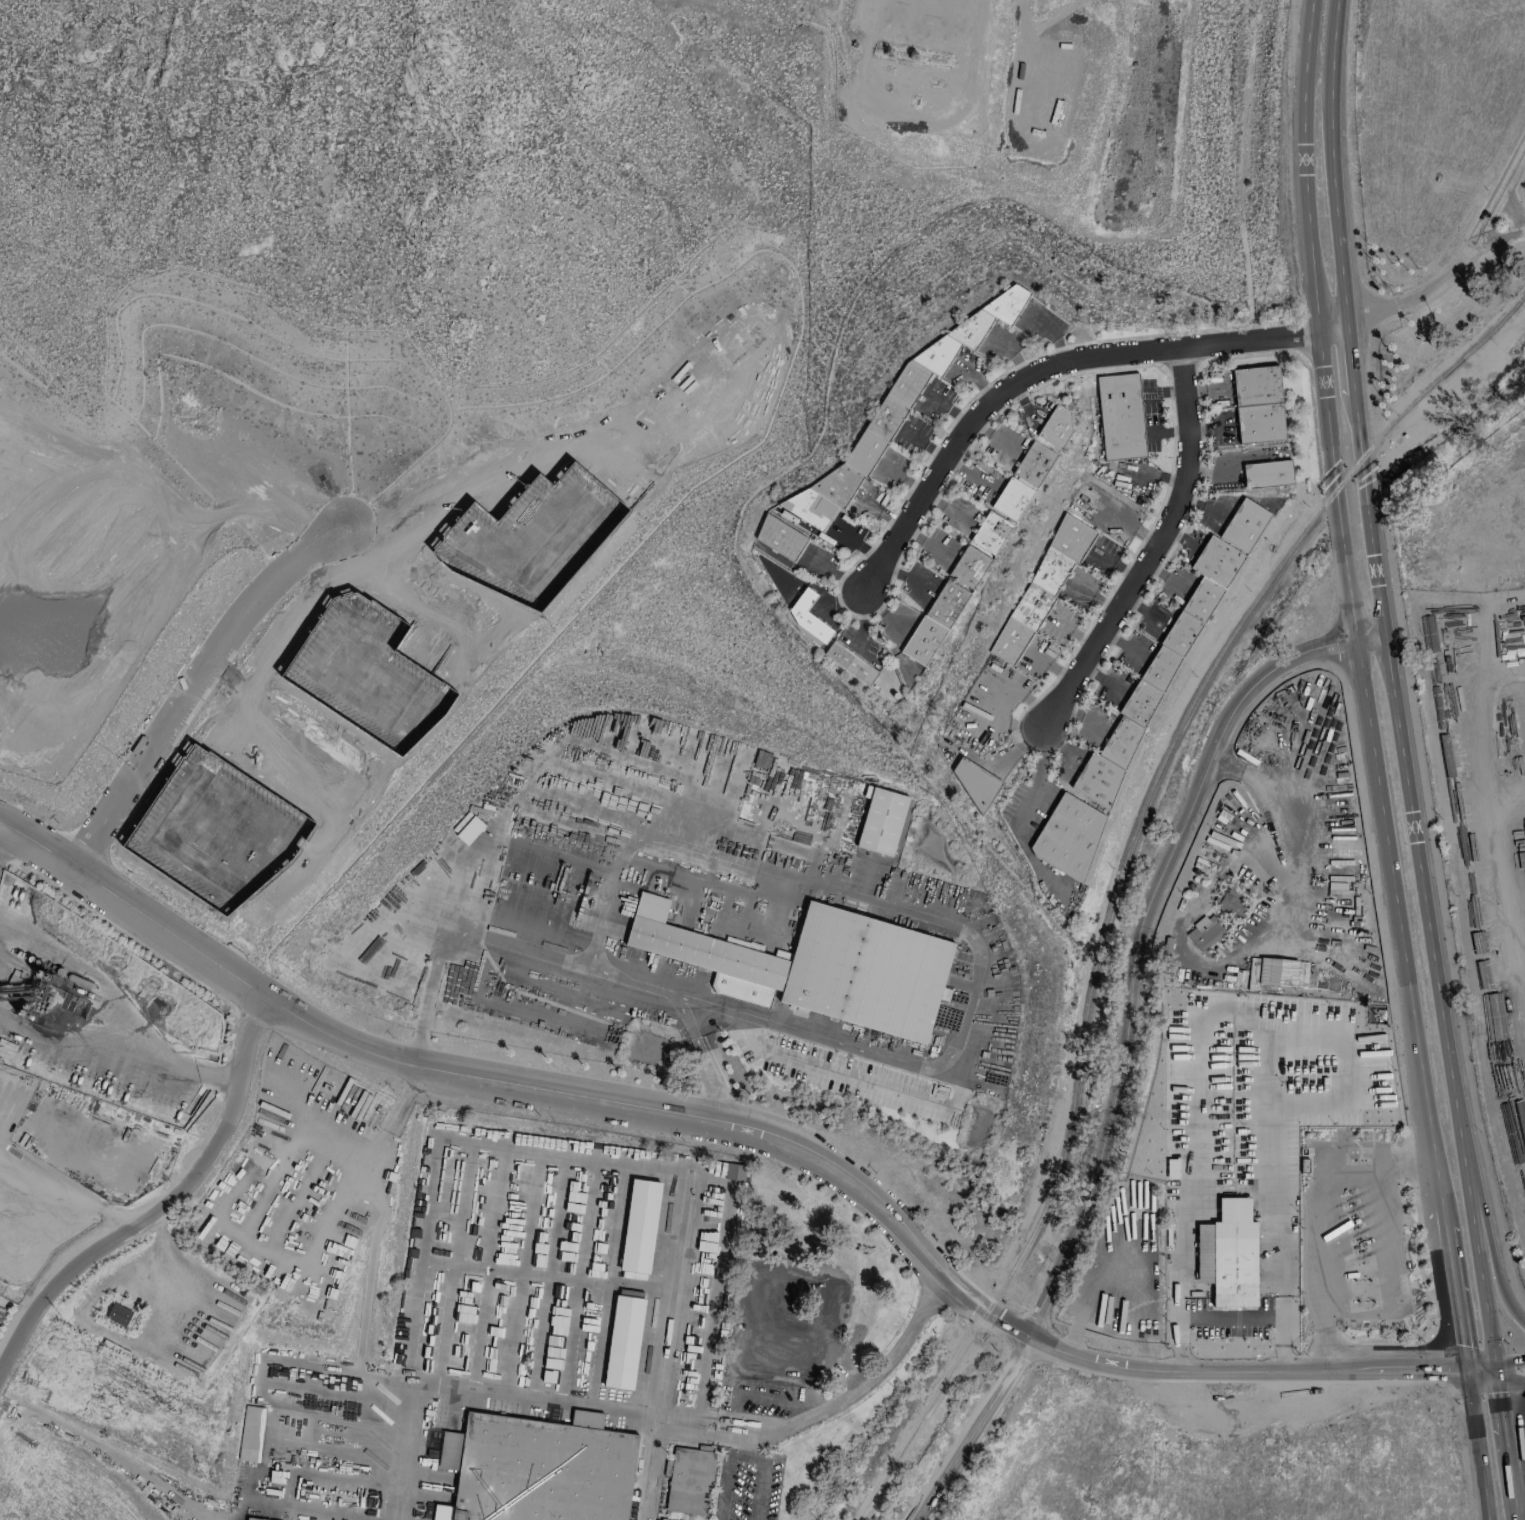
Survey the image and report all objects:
road: (1332, 165)
road: (1509, 216)
road: (1462, 266)
road: (1350, 362)
road: (1054, 374)
building: (1257, 404)
building: (897, 409)
building: (1120, 416)
building: (1055, 425)
building: (1267, 474)
building: (1022, 480)
building: (990, 533)
building: (779, 537)
road: (1156, 552)
building: (968, 566)
road: (1347, 583)
building: (1040, 590)
building: (806, 617)
building: (934, 622)
road: (1126, 643)
building: (1166, 658)
building: (850, 663)
road: (197, 687)
road: (1517, 704)
road: (1039, 772)
building: (973, 781)
road: (515, 795)
road: (1412, 818)
building: (880, 820)
building: (469, 830)
road: (1277, 833)
building: (1068, 835)
road: (4, 838)
road: (1495, 844)
railway: (1120, 870)
building: (1229, 903)
road: (934, 920)
building: (1205, 931)
road: (495, 941)
building: (816, 966)
building: (1277, 971)
road: (93, 973)
road: (1123, 1041)
road: (119, 1059)
quarry: (79, 1060)
road: (1200, 1060)
road: (703, 1061)
road: (400, 1100)
road: (707, 1124)
road: (540, 1154)
building: (1171, 1168)
road: (168, 1200)
road: (1234, 1211)
road: (1319, 1217)
building: (639, 1226)
road: (254, 1237)
road: (163, 1241)
building: (1233, 1255)
road: (453, 1264)
road: (1450, 1266)
road: (486, 1269)
road: (522, 1274)
road: (543, 1274)
road: (1181, 1274)
road: (547, 1277)
road: (1281, 1279)
road: (577, 1281)
road: (1499, 1284)
road: (1486, 1301)
building: (118, 1314)
road: (1232, 1318)
building: (623, 1343)
railway: (666, 1346)
road: (1510, 1361)
traffic signals: (1495, 1362)
road: (1480, 1366)
road: (1438, 1371)
traffic signals: (1466, 1371)
road: (1497, 1373)
road: (259, 1376)
road: (1482, 1378)
traffic signals: (1499, 1385)
road: (1512, 1385)
road: (762, 1397)
road: (1503, 1414)
road: (345, 1424)
road: (730, 1427)
building: (251, 1433)
road: (745, 1440)
road: (1478, 1445)
road: (408, 1450)
road: (745, 1451)
road: (336, 1452)
building: (539, 1468)
building: (689, 1480)
road: (1513, 1482)
road: (294, 1506)
building: (253, 1519)

